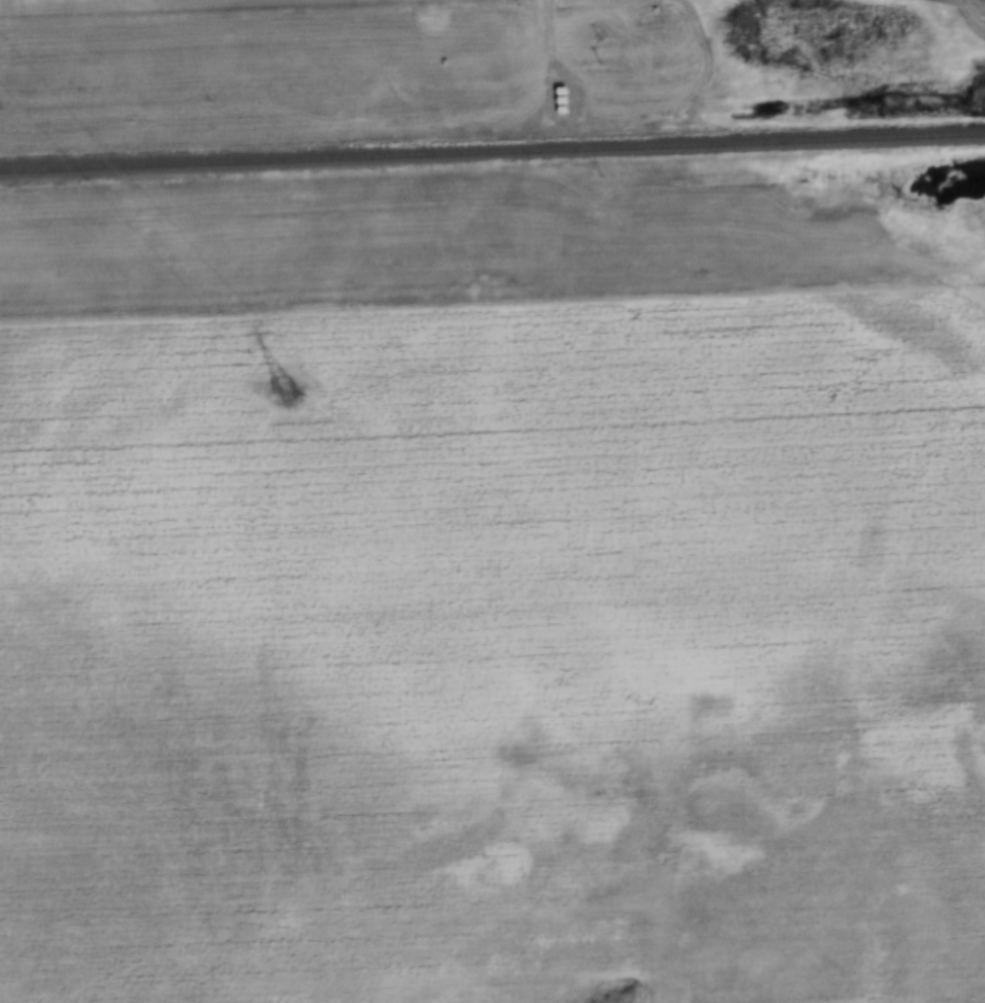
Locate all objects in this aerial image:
road: (555, 45)
railway: (492, 144)
power tower: (288, 393)

